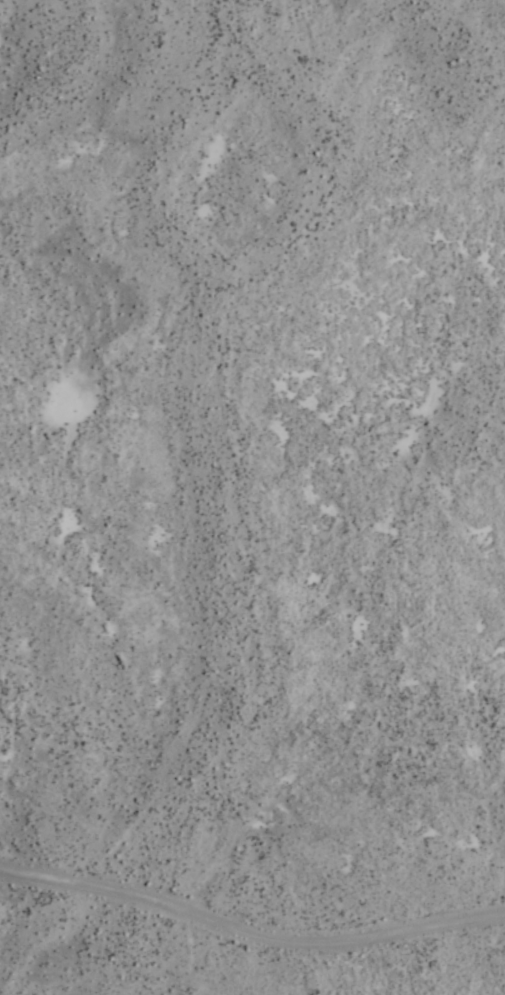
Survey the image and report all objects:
road: (250, 930)

